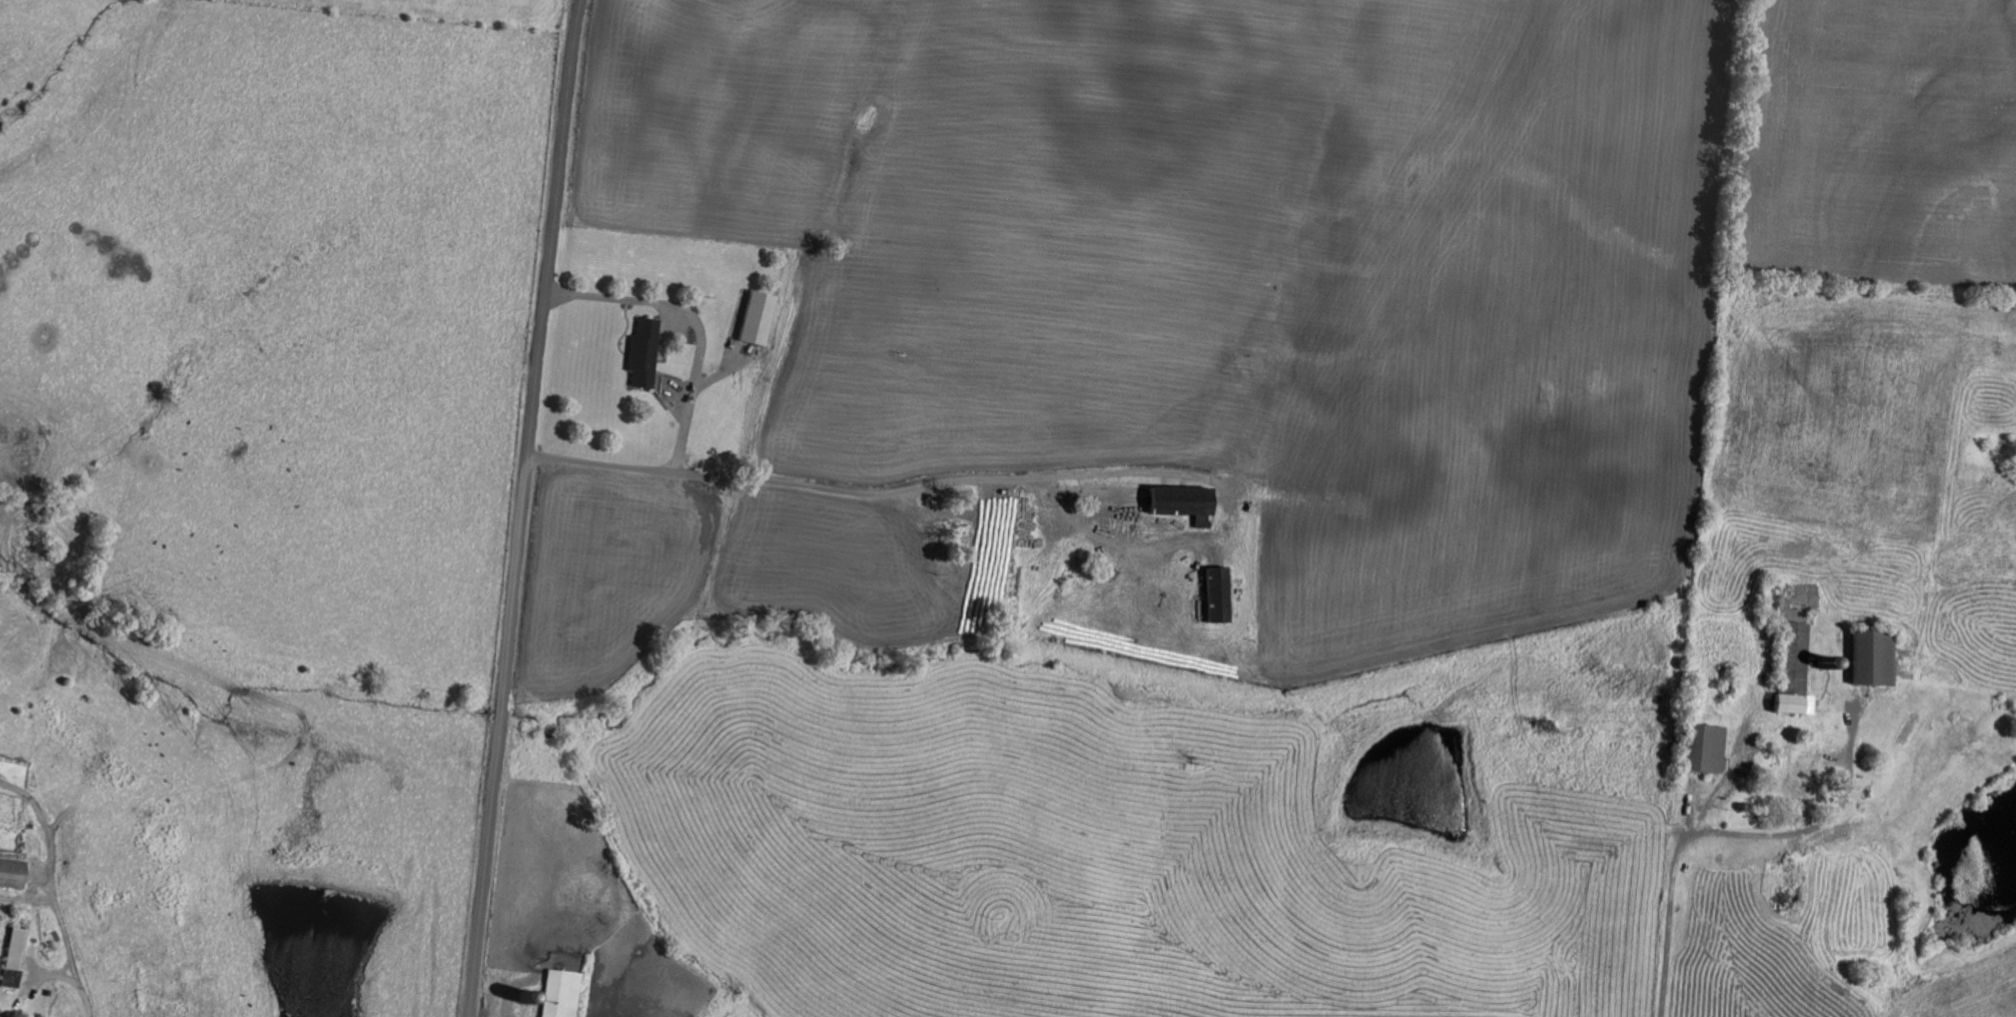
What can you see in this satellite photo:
building: (757, 317)
building: (643, 352)
building: (1183, 502)
road: (525, 508)
building: (1218, 594)
building: (1779, 595)
building: (1796, 656)
building: (1871, 658)
building: (1793, 704)
building: (1705, 748)
building: (10, 869)
road: (1627, 891)
road: (50, 932)
building: (13, 948)
building: (560, 993)

